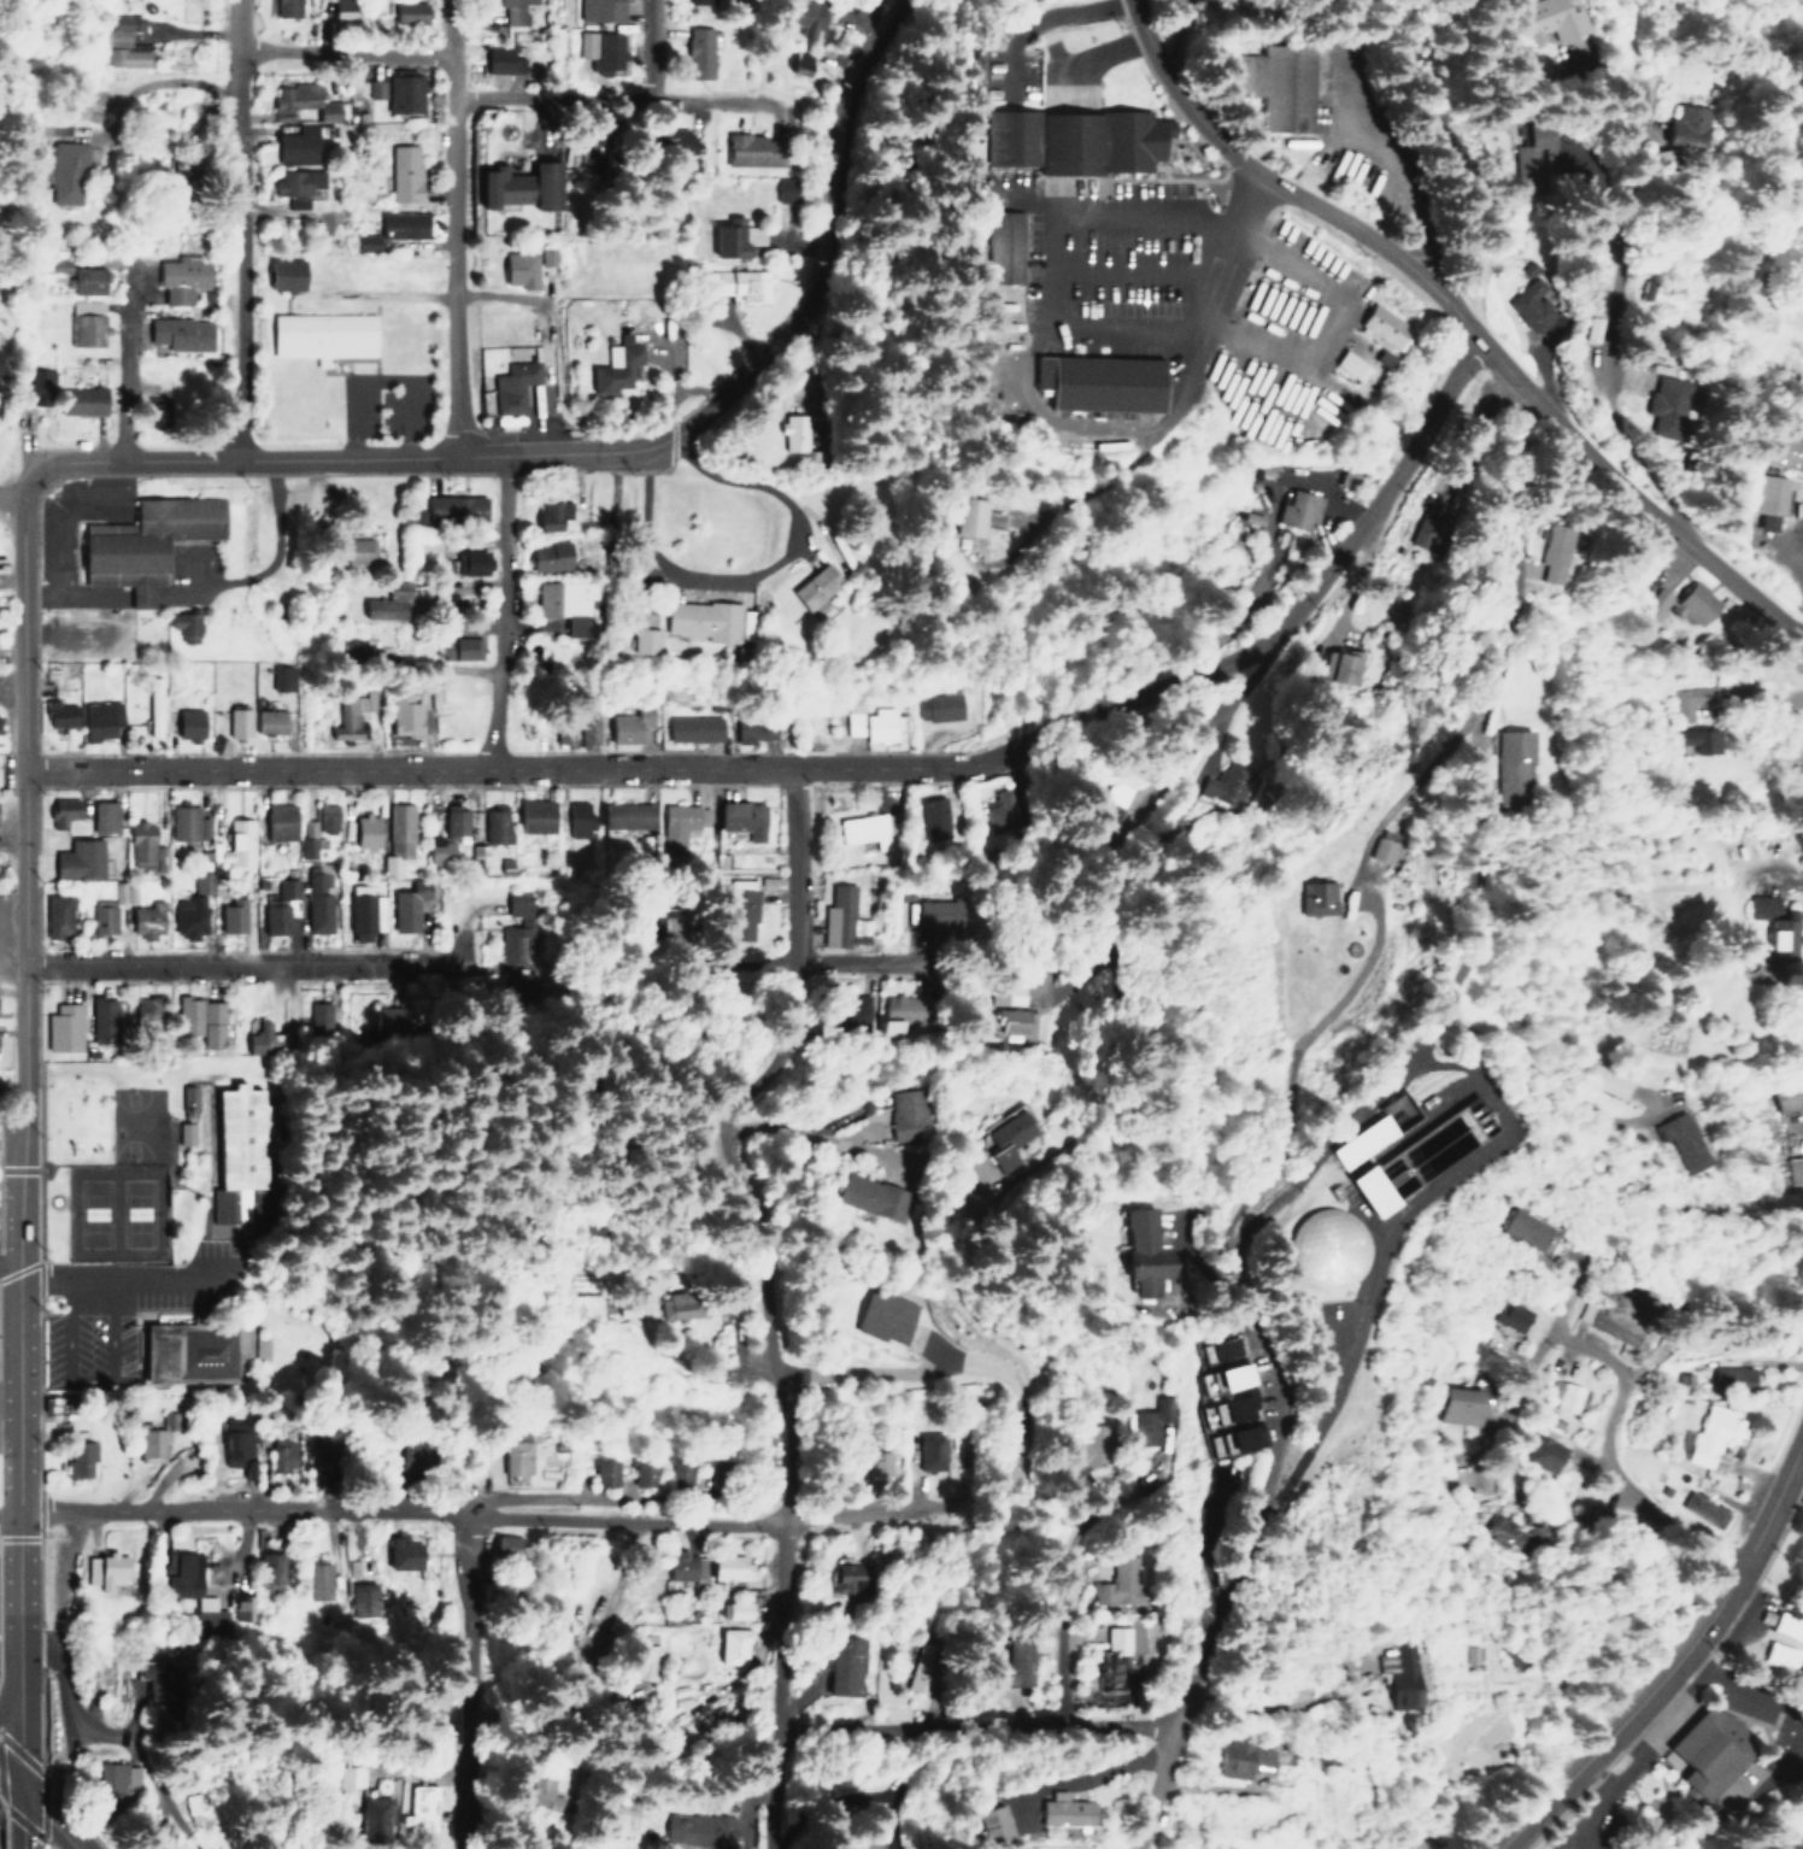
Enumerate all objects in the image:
building: (284, 7)
building: (341, 7)
building: (598, 10)
building: (404, 11)
building: (513, 11)
building: (807, 17)
building: (1535, 18)
building: (121, 28)
road: (647, 43)
road: (346, 48)
building: (598, 49)
building: (697, 52)
building: (128, 55)
building: (499, 60)
building: (1278, 83)
building: (374, 88)
building: (403, 92)
road: (552, 99)
building: (53, 125)
building: (1661, 133)
building: (666, 139)
building: (1070, 139)
building: (290, 145)
building: (748, 148)
building: (1523, 152)
building: (65, 171)
building: (403, 172)
building: (292, 184)
building: (517, 186)
building: (399, 224)
road: (454, 229)
road: (239, 230)
building: (727, 237)
road: (829, 240)
building: (364, 241)
building: (999, 245)
building: (546, 256)
building: (517, 268)
road: (1228, 268)
building: (280, 274)
building: (80, 276)
building: (178, 278)
building: (741, 283)
road: (1598, 300)
road: (1460, 319)
building: (84, 322)
building: (1386, 328)
building: (178, 333)
building: (321, 335)
road: (124, 363)
building: (1349, 364)
building: (611, 365)
building: (37, 382)
building: (1093, 382)
building: (512, 385)
building: (78, 400)
building: (1663, 403)
building: (793, 433)
building: (1785, 445)
road: (594, 454)
road: (253, 462)
building: (1768, 499)
road: (11, 503)
building: (452, 506)
building: (1297, 509)
building: (552, 515)
building: (967, 515)
building: (141, 542)
road: (272, 546)
building: (356, 550)
building: (1543, 551)
building: (547, 556)
building: (468, 562)
building: (815, 586)
building: (386, 601)
building: (565, 603)
building: (1681, 603)
road: (500, 614)
building: (705, 620)
building: (182, 624)
building: (639, 640)
building: (346, 646)
building: (454, 647)
building: (1343, 665)
building: (281, 679)
building: (153, 705)
building: (939, 706)
building: (58, 715)
building: (405, 715)
building: (96, 718)
building: (346, 718)
building: (268, 721)
building: (236, 722)
building: (184, 723)
building: (874, 723)
building: (628, 724)
building: (691, 727)
building: (589, 729)
building: (754, 729)
building: (564, 732)
road: (1069, 733)
building: (1693, 739)
road: (1462, 740)
building: (1510, 764)
road: (258, 769)
building: (1228, 786)
building: (1106, 809)
building: (58, 810)
building: (998, 811)
building: (589, 812)
building: (530, 815)
building: (624, 815)
building: (101, 816)
building: (575, 817)
building: (739, 817)
building: (933, 817)
building: (277, 821)
building: (453, 821)
building: (186, 823)
building: (494, 823)
building: (676, 826)
building: (316, 829)
building: (365, 829)
building: (863, 829)
building: (398, 838)
building: (233, 843)
building: (145, 847)
building: (1380, 849)
building: (437, 850)
building: (478, 855)
building: (77, 858)
building: (200, 881)
building: (125, 892)
building: (1314, 898)
building: (317, 900)
building: (405, 905)
building: (736, 908)
building: (363, 911)
building: (55, 915)
building: (186, 915)
building: (230, 915)
building: (838, 915)
building: (101, 916)
building: (145, 918)
building: (1772, 924)
road: (460, 945)
road: (229, 964)
road: (798, 967)
building: (535, 980)
building: (1006, 993)
road: (24, 1010)
building: (854, 1014)
building: (146, 1015)
building: (318, 1016)
building: (101, 1017)
building: (202, 1019)
building: (893, 1020)
building: (1012, 1020)
building: (63, 1027)
building: (258, 1031)
building: (1604, 1078)
building: (1787, 1094)
building: (189, 1097)
building: (903, 1113)
park: (133, 1120)
building: (183, 1132)
road: (793, 1132)
building: (1008, 1138)
building: (1681, 1139)
building: (1422, 1141)
building: (234, 1154)
building: (1793, 1168)
building: (1352, 1191)
building: (864, 1193)
park: (472, 1197)
park: (113, 1208)
building: (1523, 1228)
building: (1314, 1248)
building: (1139, 1254)
road: (1216, 1276)
road: (129, 1279)
road: (759, 1286)
building: (680, 1305)
building: (1511, 1314)
building: (883, 1315)
building: (1608, 1321)
road: (1544, 1340)
building: (193, 1349)
building: (1224, 1377)
building: (1729, 1378)
building: (1566, 1396)
building: (1455, 1404)
building: (1228, 1409)
building: (1151, 1420)
building: (1715, 1433)
building: (237, 1439)
building: (1234, 1439)
building: (149, 1442)
building: (1073, 1449)
building: (282, 1451)
building: (515, 1451)
building: (1543, 1451)
building: (77, 1458)
building: (879, 1463)
building: (603, 1472)
building: (681, 1472)
building: (644, 1473)
road: (1611, 1475)
road: (587, 1491)
building: (1702, 1509)
road: (10, 1513)
road: (242, 1513)
road: (703, 1515)
building: (1511, 1532)
building: (505, 1544)
building: (397, 1552)
building: (683, 1566)
building: (351, 1567)
building: (729, 1567)
building: (107, 1568)
building: (270, 1568)
building: (846, 1577)
building: (317, 1580)
road: (19, 1581)
building: (1120, 1583)
building: (204, 1596)
building: (359, 1598)
building: (734, 1609)
building: (1783, 1625)
road: (1064, 1634)
building: (733, 1645)
road: (10, 1650)
building: (1774, 1655)
building: (1114, 1659)
building: (646, 1661)
road: (1678, 1662)
building: (845, 1665)
building: (1005, 1668)
road: (1192, 1668)
road: (464, 1671)
building: (1400, 1675)
building: (677, 1694)
road: (19, 1718)
road: (816, 1744)
building: (1703, 1753)
road: (409, 1754)
building: (1241, 1759)
building: (340, 1775)
road: (10, 1777)
building: (112, 1777)
road: (1158, 1788)
building: (529, 1792)
building: (417, 1807)
building: (1049, 1812)
road: (1732, 1814)
road: (19, 1816)
road: (47, 1816)
building: (974, 1826)
building: (706, 1827)

